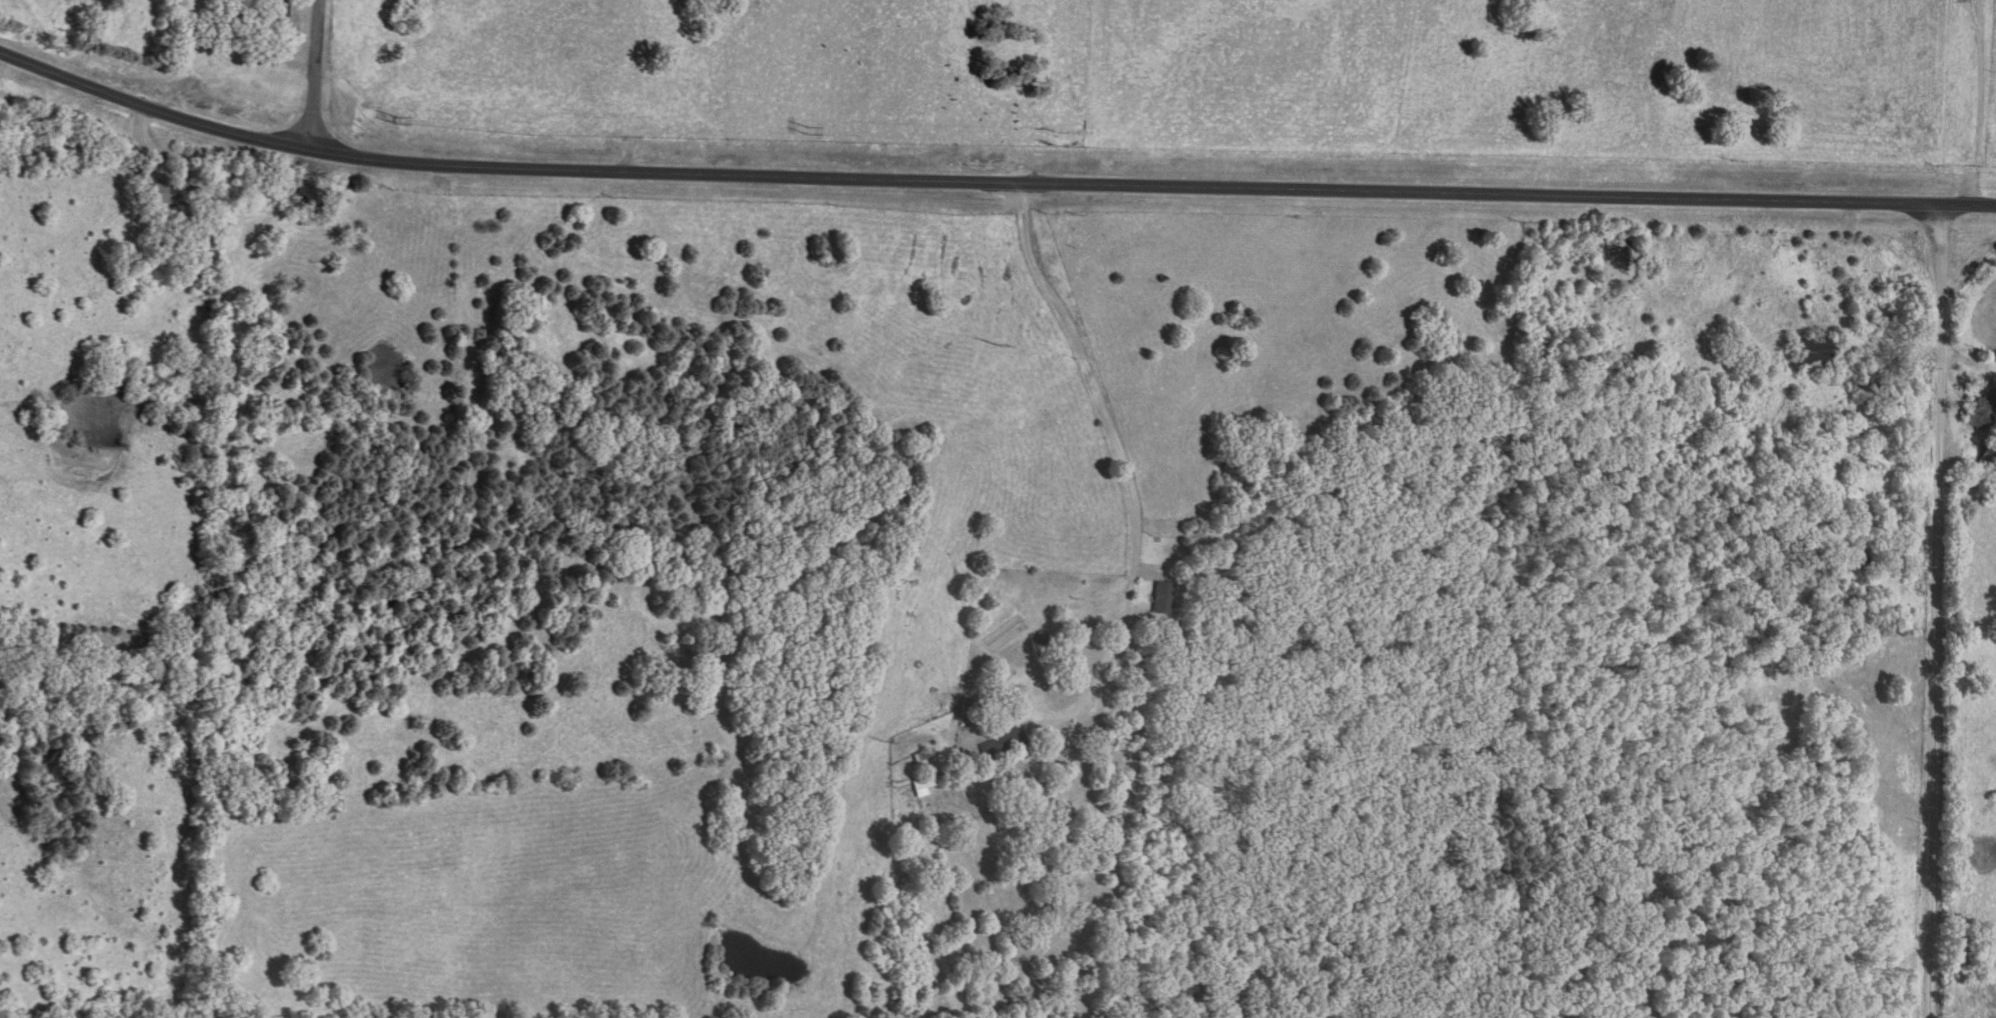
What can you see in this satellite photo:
road: (312, 74)
road: (75, 125)
road: (990, 171)
building: (156, 192)
building: (1979, 412)
building: (1162, 597)
road: (1931, 610)

